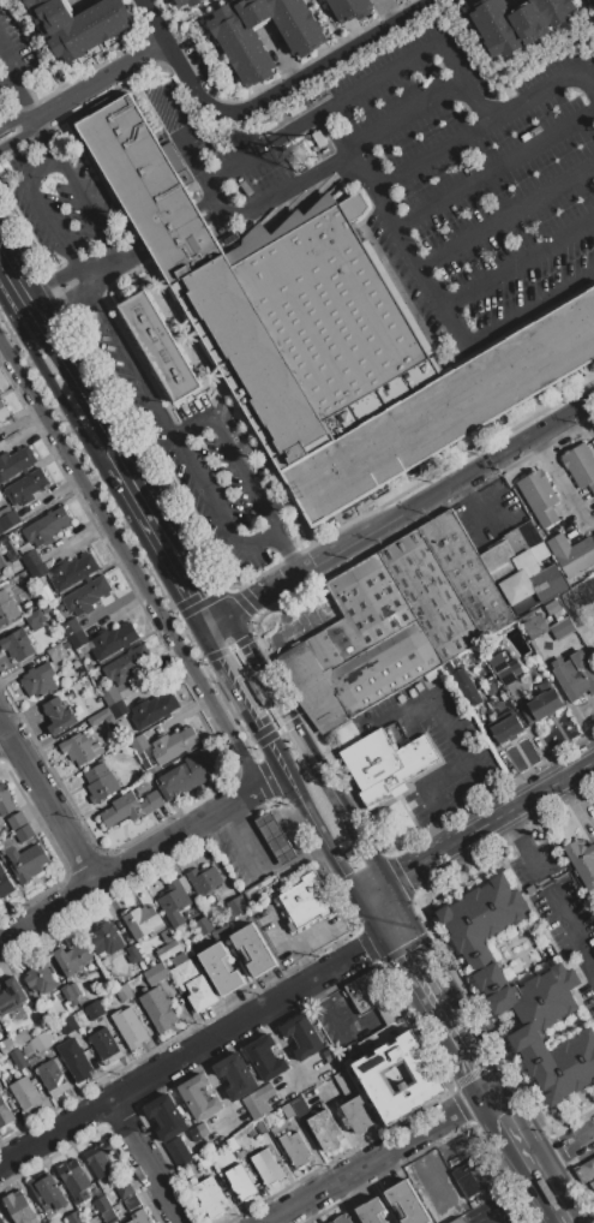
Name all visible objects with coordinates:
building: (186, 2)
building: (592, 2)
building: (349, 8)
road: (589, 8)
road: (185, 17)
building: (517, 22)
building: (78, 24)
road: (329, 24)
building: (242, 49)
road: (450, 60)
road: (510, 66)
road: (16, 67)
road: (118, 67)
road: (284, 84)
road: (22, 97)
road: (524, 100)
road: (320, 112)
road: (16, 118)
road: (19, 135)
road: (44, 136)
road: (176, 138)
road: (430, 156)
road: (328, 162)
road: (494, 167)
parking lot: (426, 171)
road: (86, 207)
road: (41, 209)
road: (204, 210)
road: (214, 210)
road: (505, 214)
road: (208, 217)
road: (169, 222)
road: (178, 237)
road: (133, 246)
road: (137, 253)
road: (121, 256)
road: (100, 267)
road: (49, 281)
road: (8, 284)
road: (62, 298)
road: (439, 304)
road: (528, 305)
road: (452, 326)
building: (323, 332)
parking lot: (108, 333)
building: (160, 347)
road: (127, 357)
road: (74, 377)
road: (53, 390)
building: (2, 412)
road: (174, 436)
building: (16, 463)
road: (481, 463)
building: (580, 465)
building: (25, 487)
building: (0, 496)
building: (536, 496)
building: (7, 518)
building: (593, 532)
building: (42, 538)
road: (166, 542)
road: (287, 550)
building: (511, 553)
building: (571, 554)
road: (130, 563)
building: (1, 566)
building: (72, 571)
road: (293, 575)
building: (532, 586)
building: (86, 596)
road: (240, 602)
road: (194, 604)
building: (28, 607)
building: (44, 609)
building: (8, 611)
building: (35, 619)
traffic signals: (215, 621)
building: (395, 622)
building: (534, 626)
building: (71, 627)
building: (560, 628)
building: (78, 639)
building: (113, 640)
building: (17, 644)
road: (216, 652)
building: (56, 654)
building: (127, 667)
building: (503, 669)
building: (575, 675)
building: (38, 680)
building: (467, 686)
road: (254, 688)
building: (108, 694)
road: (242, 698)
building: (541, 705)
building: (118, 708)
building: (151, 710)
road: (438, 710)
building: (58, 715)
building: (98, 716)
traffic signals: (259, 727)
building: (505, 729)
road: (270, 734)
road: (4, 736)
building: (138, 742)
building: (173, 744)
building: (77, 748)
road: (306, 750)
road: (253, 753)
road: (251, 762)
traffic signals: (314, 763)
building: (384, 764)
road: (263, 770)
road: (444, 770)
building: (185, 776)
building: (100, 782)
road: (485, 784)
building: (142, 787)
traffic signals: (258, 788)
building: (5, 800)
road: (47, 801)
building: (130, 807)
road: (437, 813)
building: (17, 821)
road: (487, 821)
building: (24, 833)
building: (275, 839)
road: (523, 848)
road: (329, 851)
road: (140, 854)
building: (26, 861)
building: (582, 861)
traffic signals: (401, 873)
traffic signals: (343, 875)
building: (204, 879)
building: (5, 883)
building: (265, 888)
building: (307, 900)
building: (173, 902)
building: (232, 907)
road: (380, 909)
building: (481, 919)
building: (142, 920)
building: (202, 925)
road: (569, 927)
building: (166, 936)
building: (106, 938)
road: (410, 938)
building: (253, 948)
building: (168, 949)
traffic signals: (360, 950)
traffic signals: (420, 953)
building: (132, 954)
building: (72, 959)
road: (397, 965)
building: (220, 968)
building: (155, 973)
building: (40, 977)
building: (193, 984)
building: (368, 990)
building: (122, 991)
building: (67, 994)
building: (10, 996)
building: (529, 1000)
building: (94, 1009)
building: (157, 1009)
building: (68, 1025)
building: (130, 1026)
building: (384, 1034)
building: (302, 1036)
road: (468, 1037)
building: (19, 1038)
building: (41, 1042)
building: (104, 1045)
building: (6, 1046)
road: (191, 1050)
road: (448, 1052)
building: (264, 1057)
building: (18, 1058)
building: (74, 1058)
building: (562, 1064)
building: (234, 1075)
building: (367, 1075)
building: (52, 1078)
building: (1, 1084)
building: (344, 1084)
building: (24, 1094)
building: (198, 1097)
building: (258, 1102)
building: (299, 1108)
building: (287, 1111)
building: (5, 1114)
building: (355, 1115)
building: (166, 1117)
building: (259, 1126)
building: (325, 1129)
building: (198, 1132)
building: (232, 1144)
road: (562, 1147)
building: (294, 1149)
building: (176, 1151)
road: (522, 1151)
road: (377, 1156)
road: (146, 1161)
building: (203, 1161)
building: (101, 1162)
building: (266, 1168)
building: (584, 1170)
building: (593, 1180)
building: (464, 1181)
building: (240, 1182)
building: (76, 1183)
building: (124, 1189)
building: (593, 1191)
building: (49, 1194)
building: (209, 1198)
building: (131, 1201)
building: (406, 1203)
building: (101, 1204)
building: (18, 1207)
building: (370, 1211)
building: (74, 1217)
building: (139, 1217)
road: (492, 1217)
road: (548, 1217)
road: (562, 1217)
building: (341, 1219)
building: (455, 1221)
building: (0, 1222)

